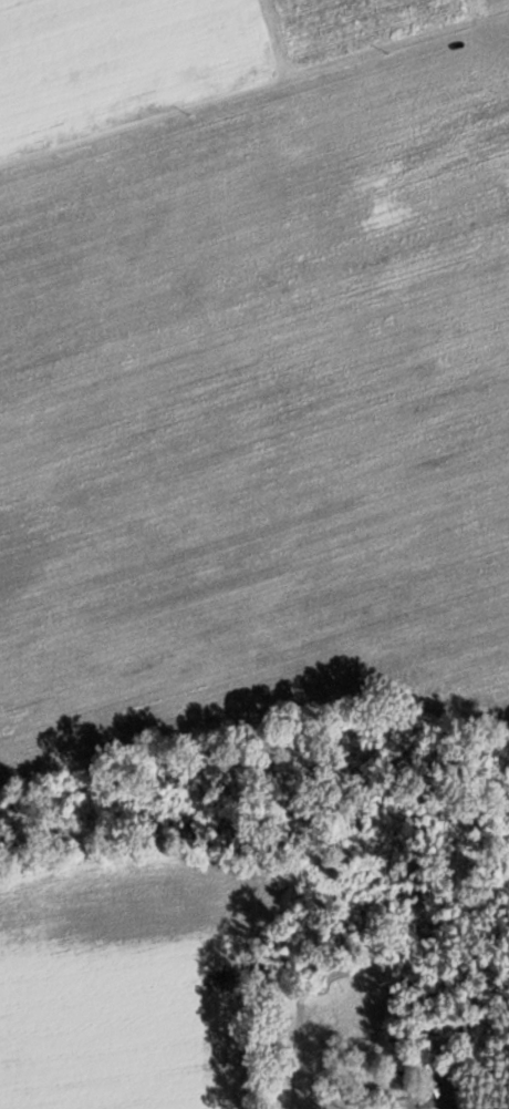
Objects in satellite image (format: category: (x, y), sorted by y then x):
road: (199, 59)

